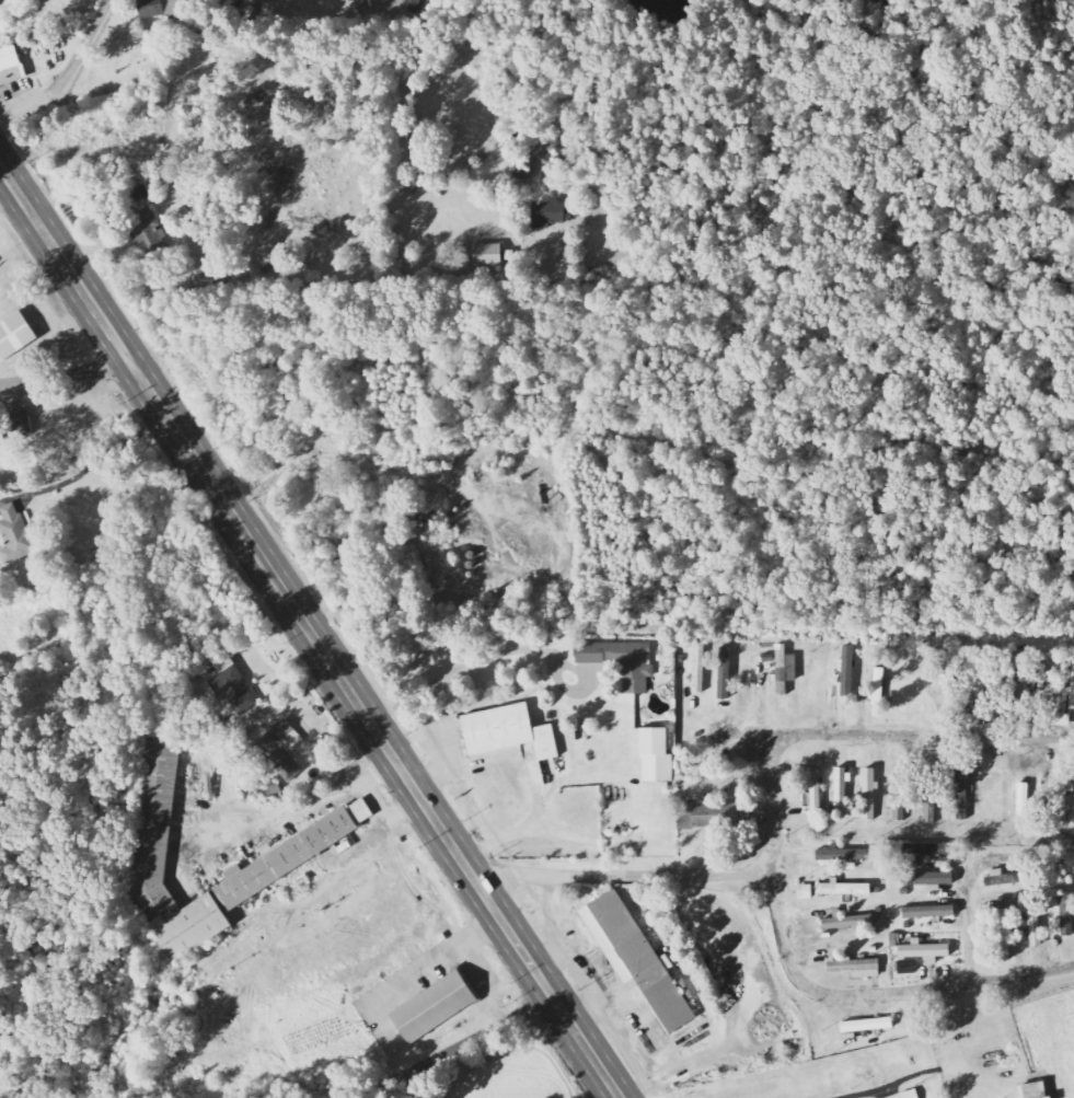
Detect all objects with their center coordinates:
building: (161, 9)
building: (10, 67)
road: (68, 72)
road: (486, 84)
building: (522, 170)
building: (547, 215)
building: (146, 232)
building: (487, 255)
building: (14, 336)
road: (67, 372)
building: (19, 425)
building: (15, 536)
road: (309, 631)
building: (621, 661)
building: (698, 668)
building: (785, 670)
building: (846, 672)
building: (724, 673)
building: (1013, 683)
building: (232, 685)
building: (983, 690)
building: (1070, 694)
building: (506, 732)
road: (858, 735)
building: (280, 749)
building: (655, 755)
road: (446, 768)
building: (842, 786)
building: (869, 795)
building: (899, 795)
building: (961, 795)
building: (1062, 796)
building: (816, 797)
building: (929, 798)
building: (703, 817)
building: (311, 844)
building: (916, 848)
building: (843, 855)
building: (927, 879)
building: (844, 889)
building: (805, 892)
building: (928, 912)
building: (1065, 917)
building: (847, 921)
road: (778, 925)
building: (1033, 927)
building: (1003, 935)
road: (967, 936)
building: (924, 951)
building: (635, 958)
building: (855, 967)
building: (906, 968)
building: (432, 1007)
building: (867, 1026)
road: (461, 1048)
building: (1032, 1090)
building: (910, 1095)

